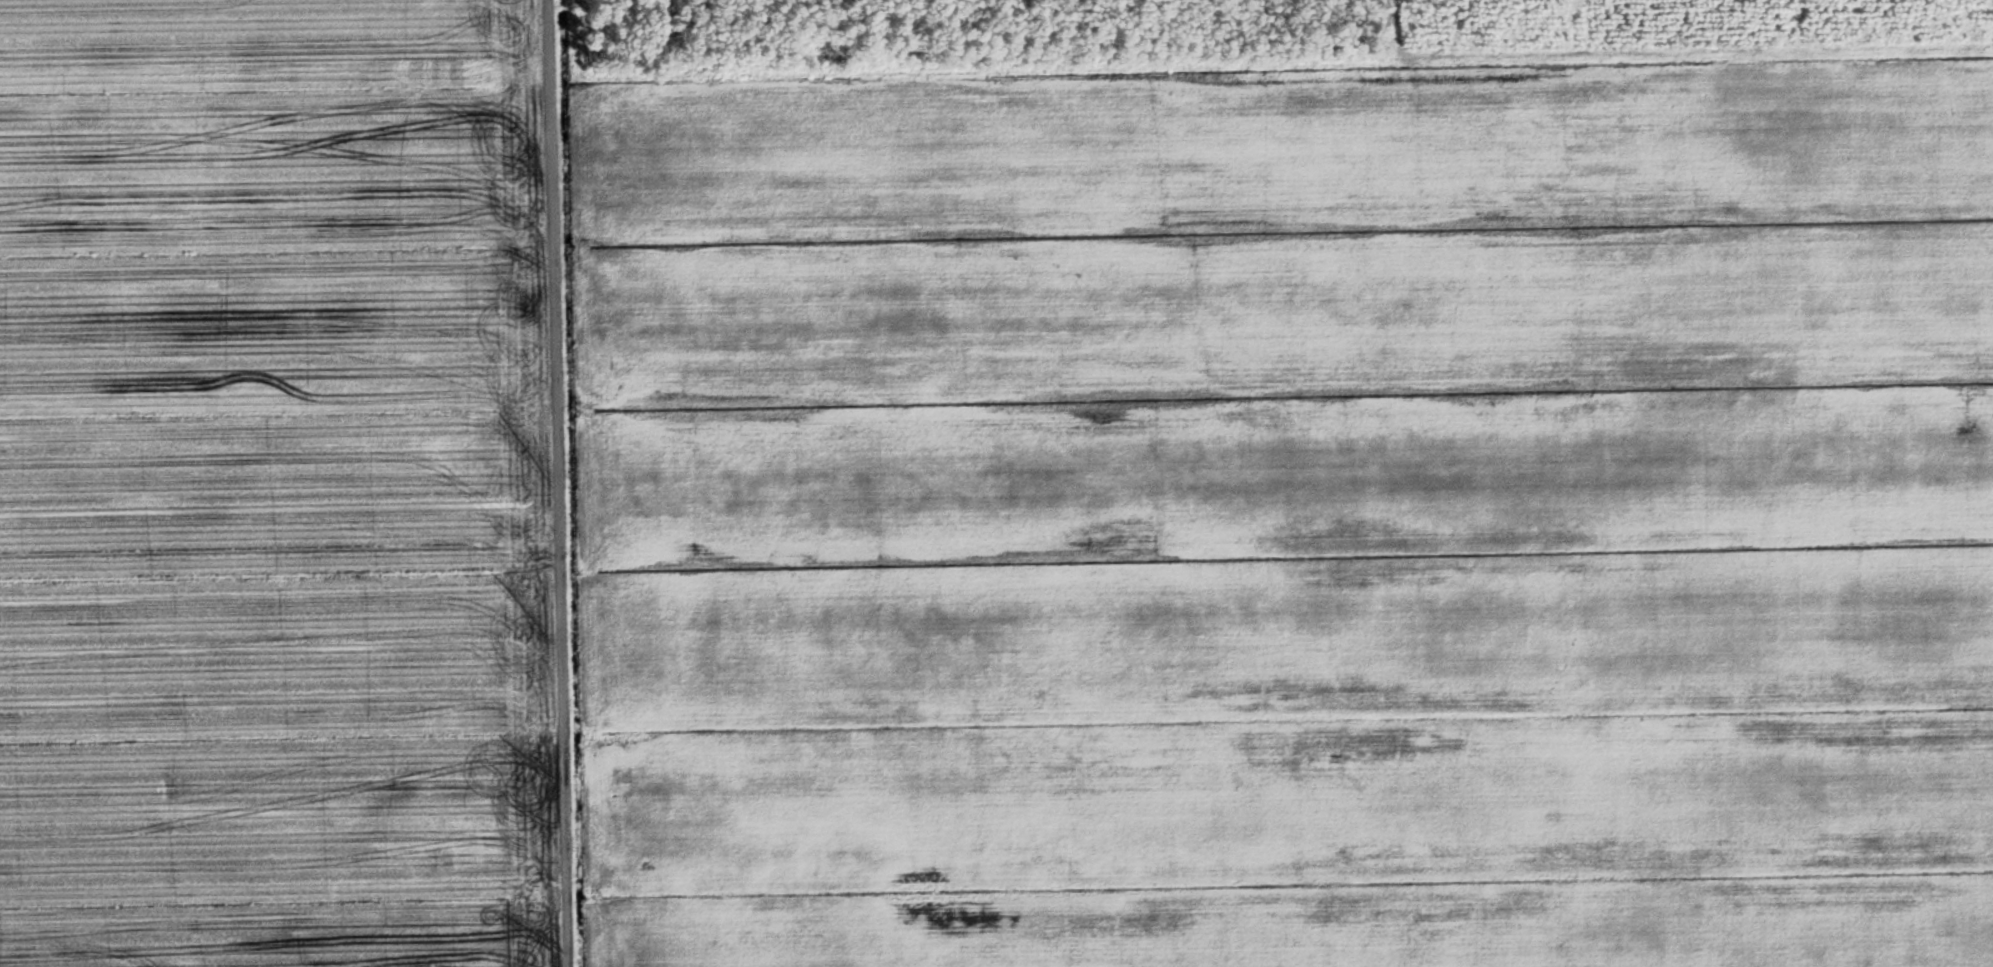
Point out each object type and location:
crop: (277, 486)

